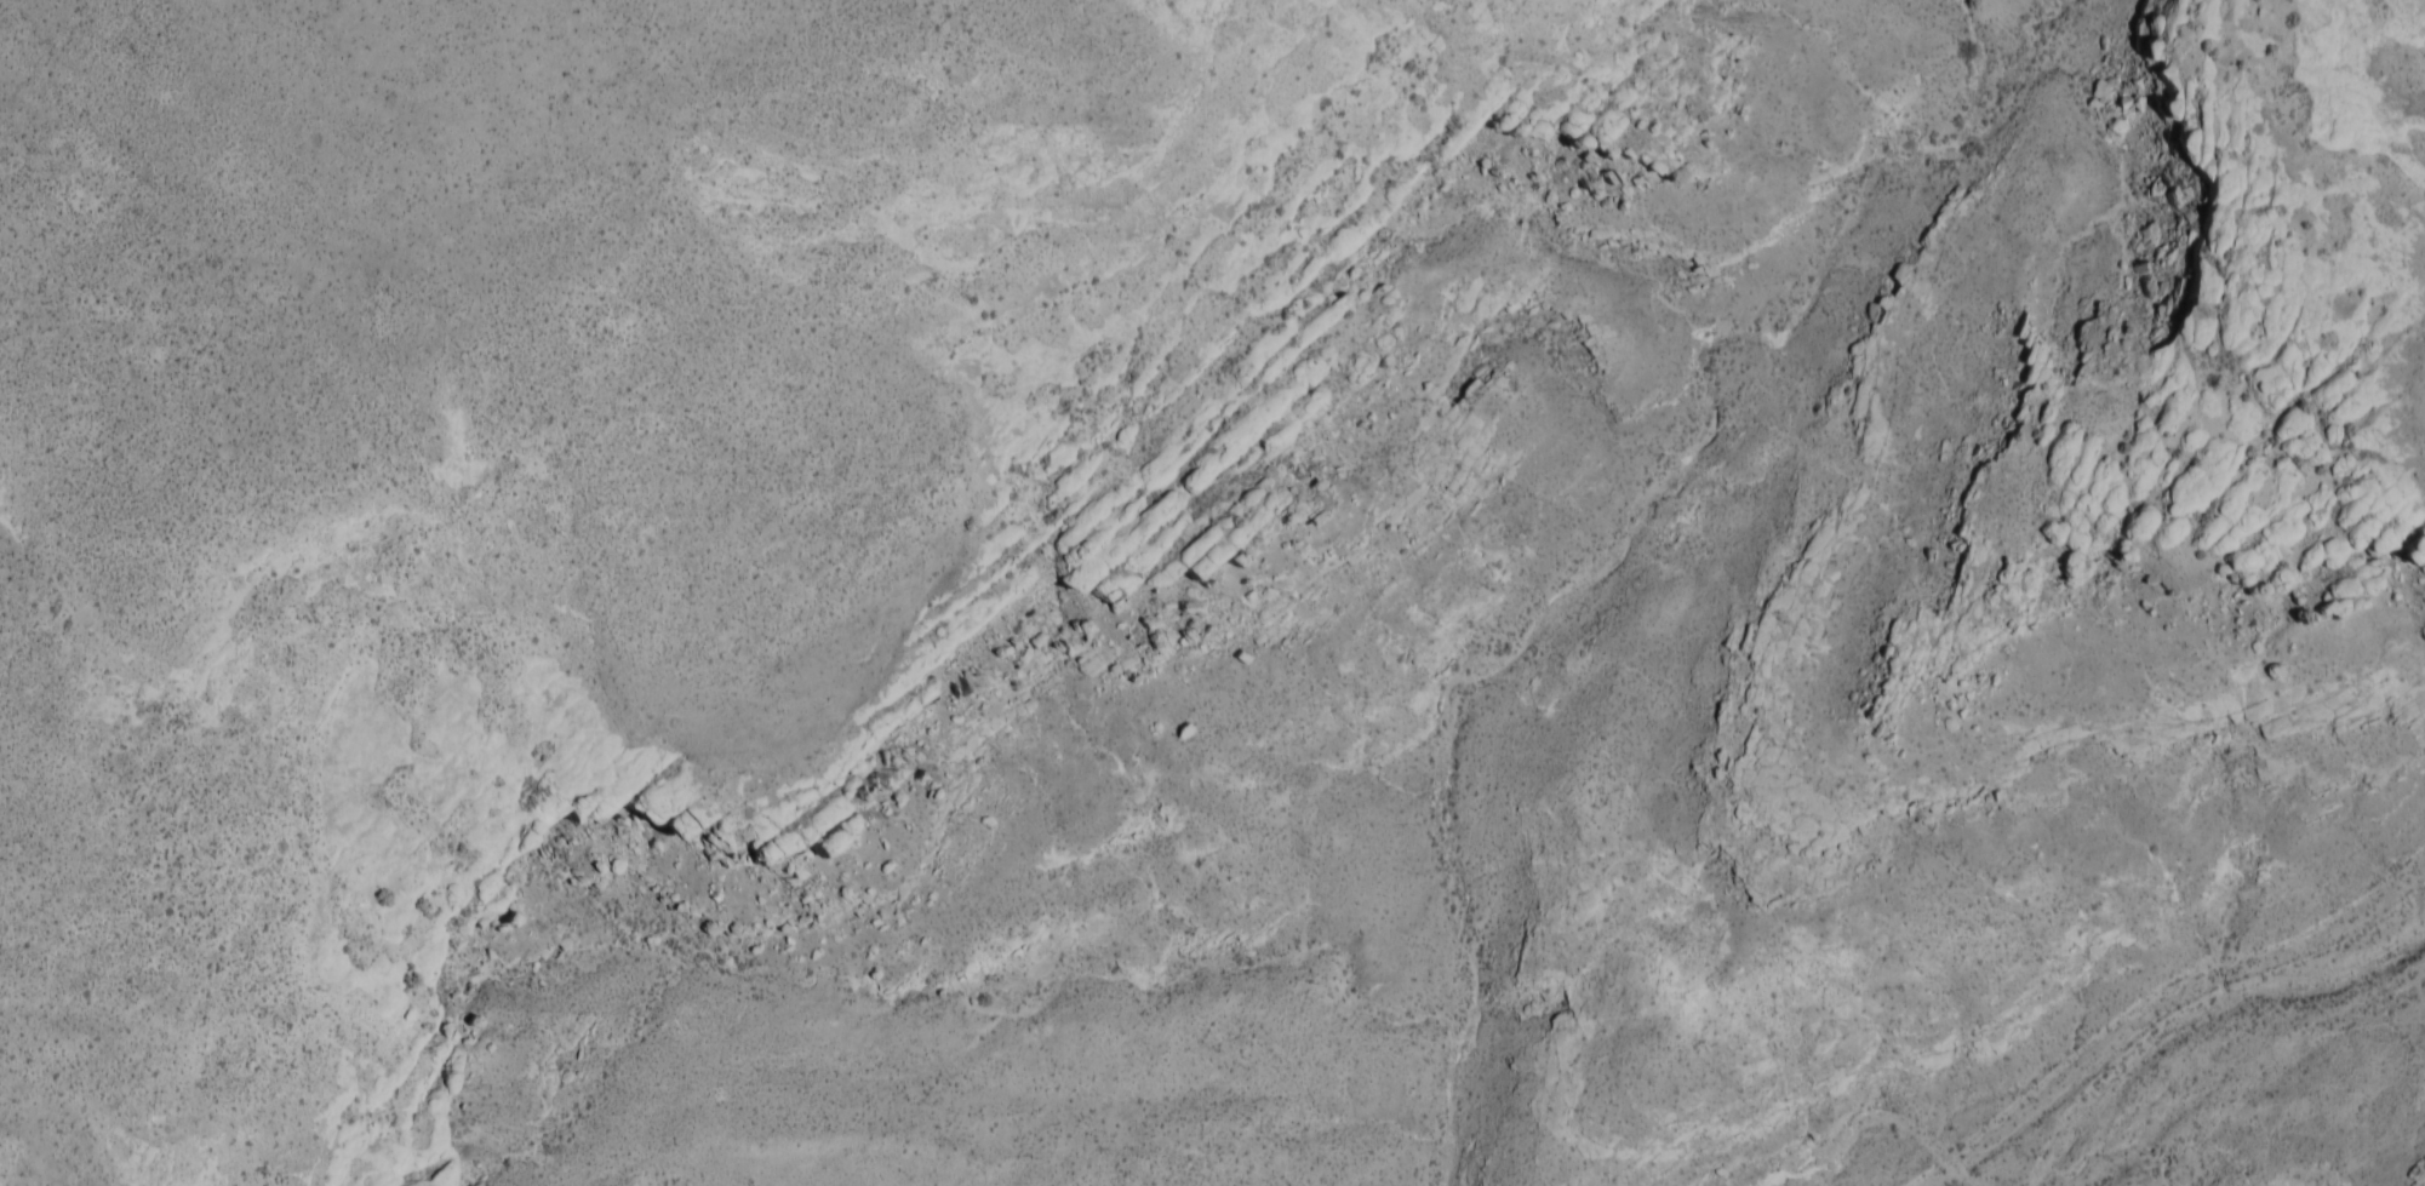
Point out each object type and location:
road: (2175, 1005)

